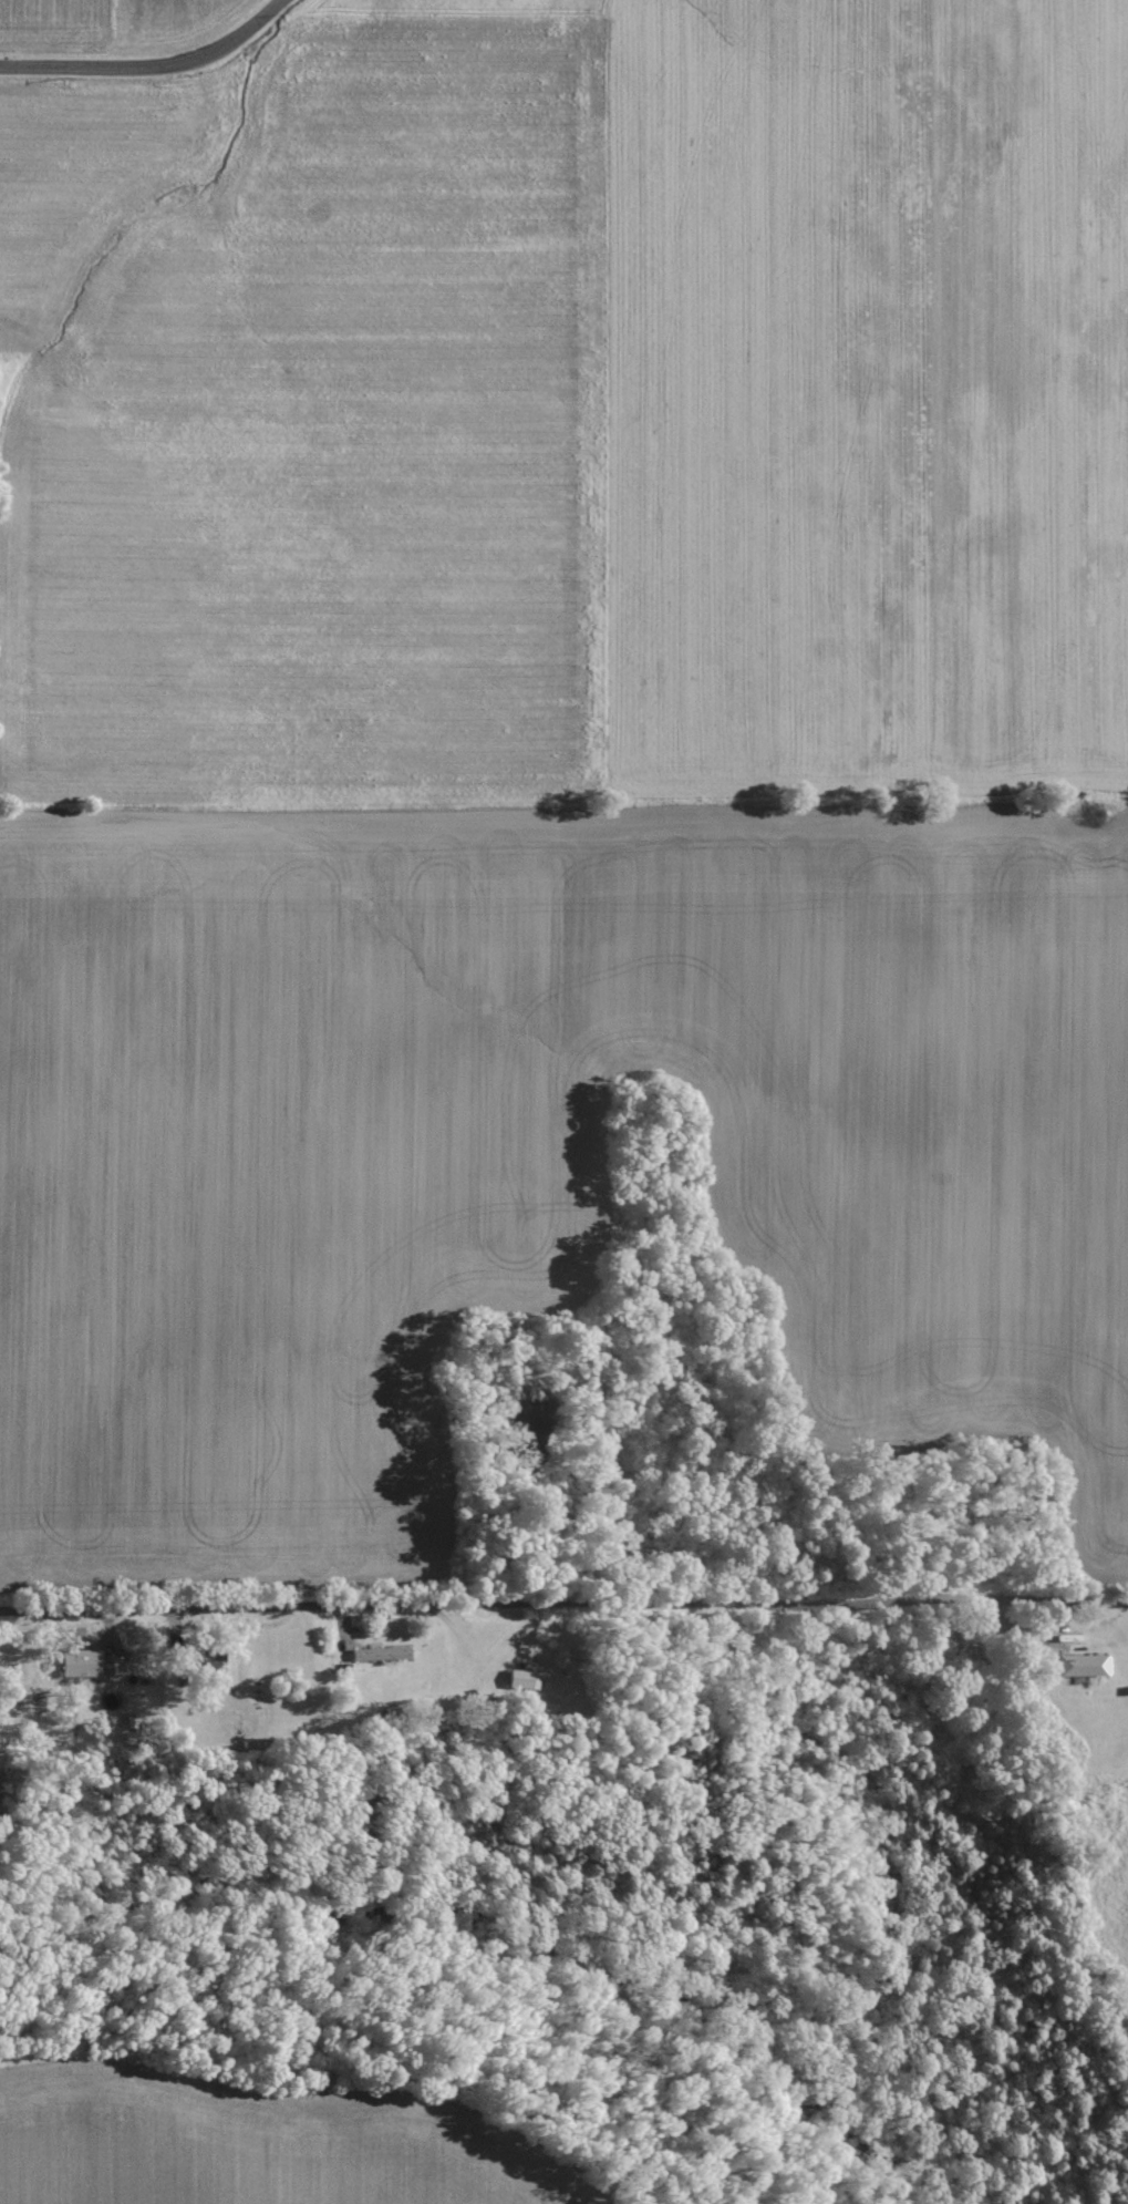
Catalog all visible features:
road: (153, 70)
road: (563, 1604)
building: (379, 1654)
building: (80, 1665)
building: (1082, 1666)
building: (521, 1679)

